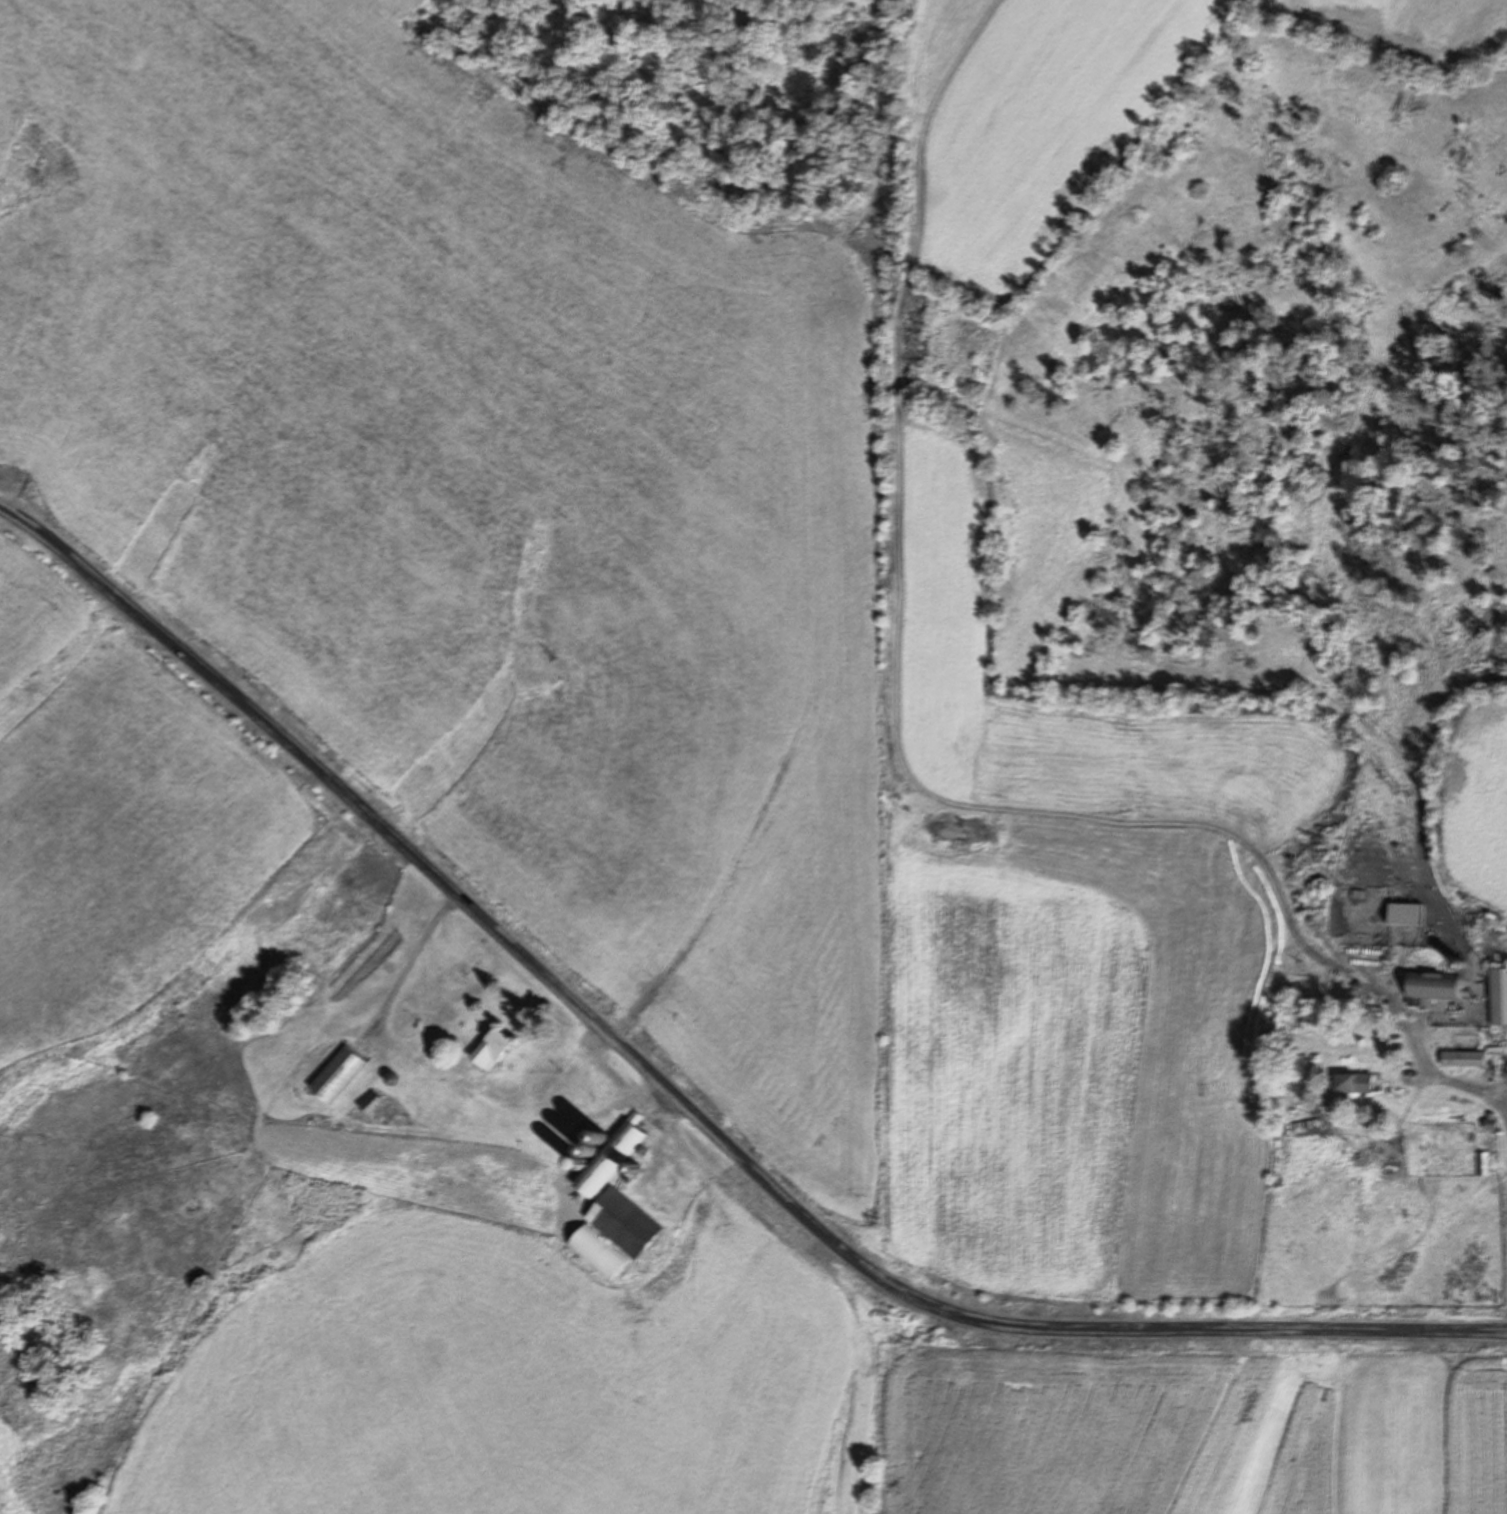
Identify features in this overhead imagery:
building: (1404, 915)
building: (1432, 988)
building: (1498, 997)
building: (490, 1053)
building: (1461, 1059)
building: (339, 1077)
building: (1352, 1084)
road: (680, 1100)
building: (1484, 1164)
building: (619, 1195)

